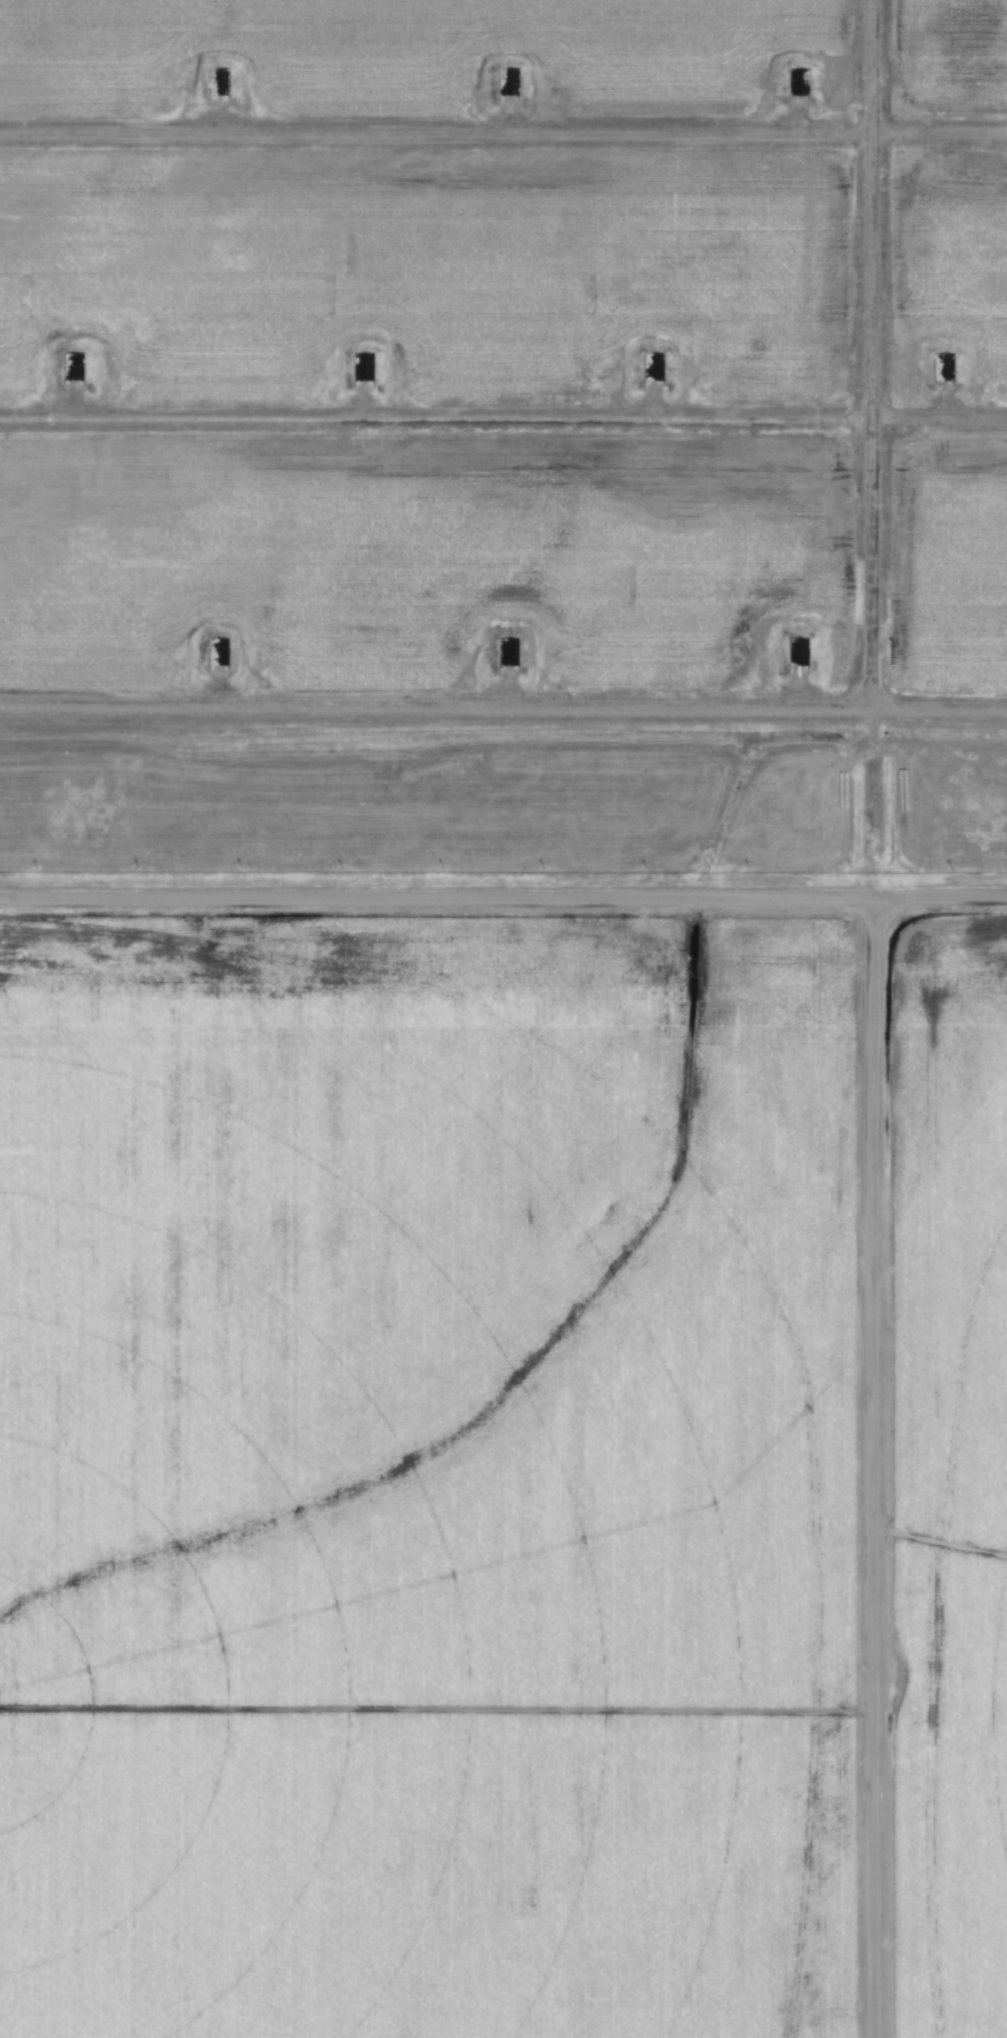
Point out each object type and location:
building: (217, 82)
building: (507, 82)
building: (797, 82)
road: (503, 132)
road: (869, 352)
building: (72, 365)
building: (651, 365)
building: (362, 366)
building: (941, 366)
road: (503, 417)
building: (217, 651)
building: (507, 651)
building: (795, 651)
road: (503, 705)
road: (503, 893)
road: (868, 1465)

